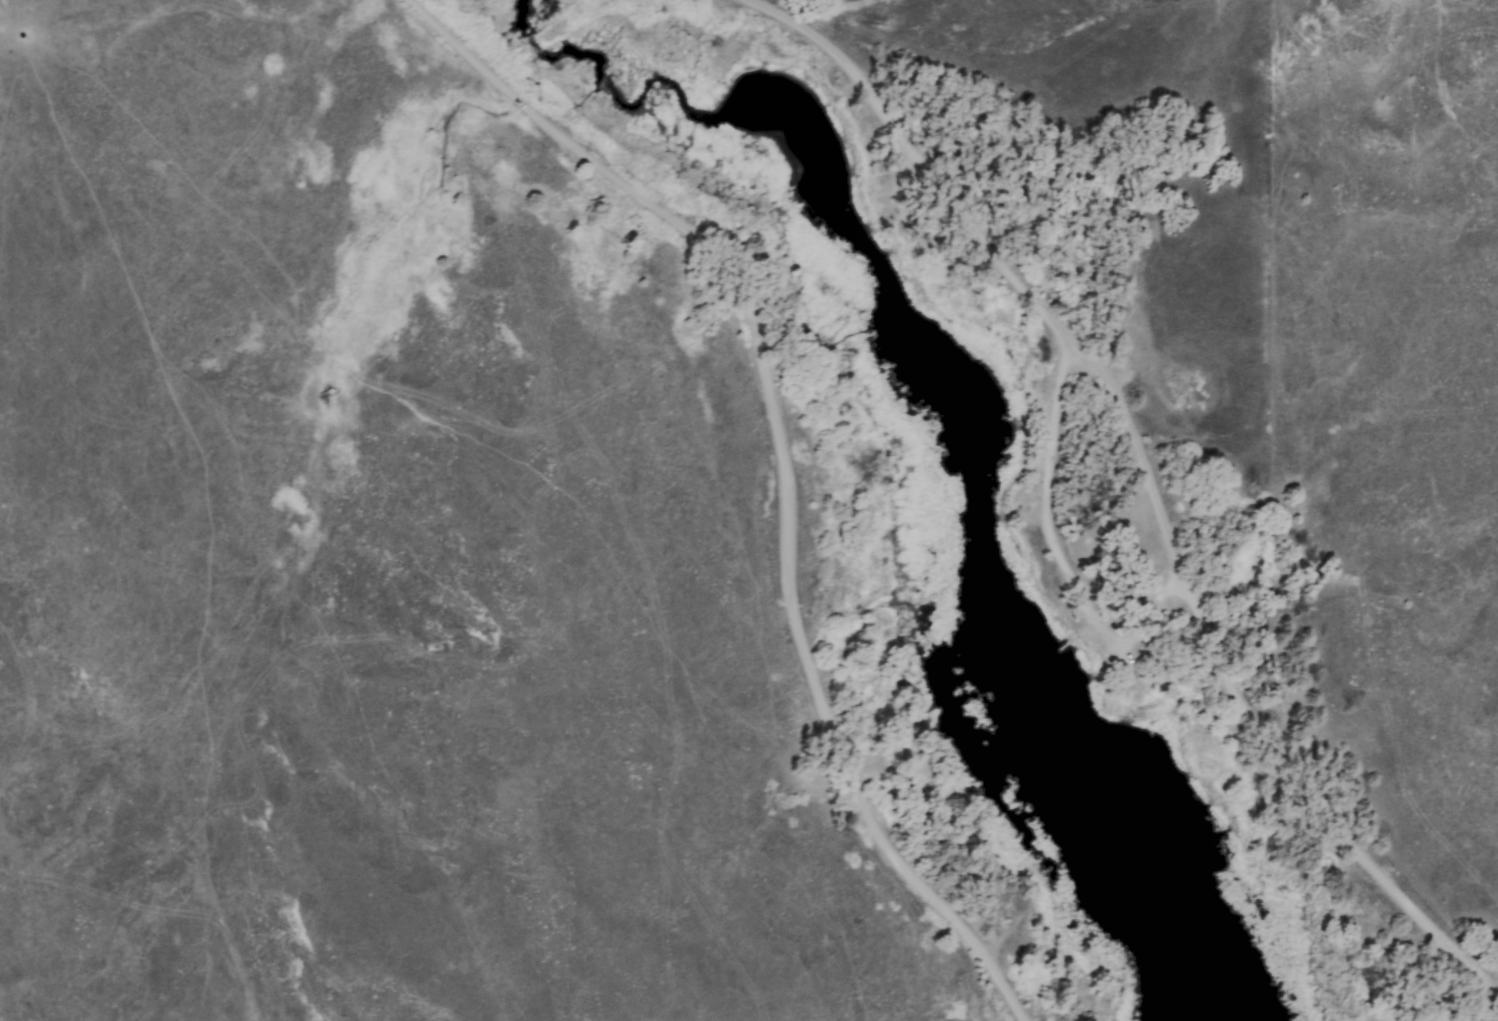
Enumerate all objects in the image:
road: (789, 463)
park: (1004, 471)
road: (1155, 478)

